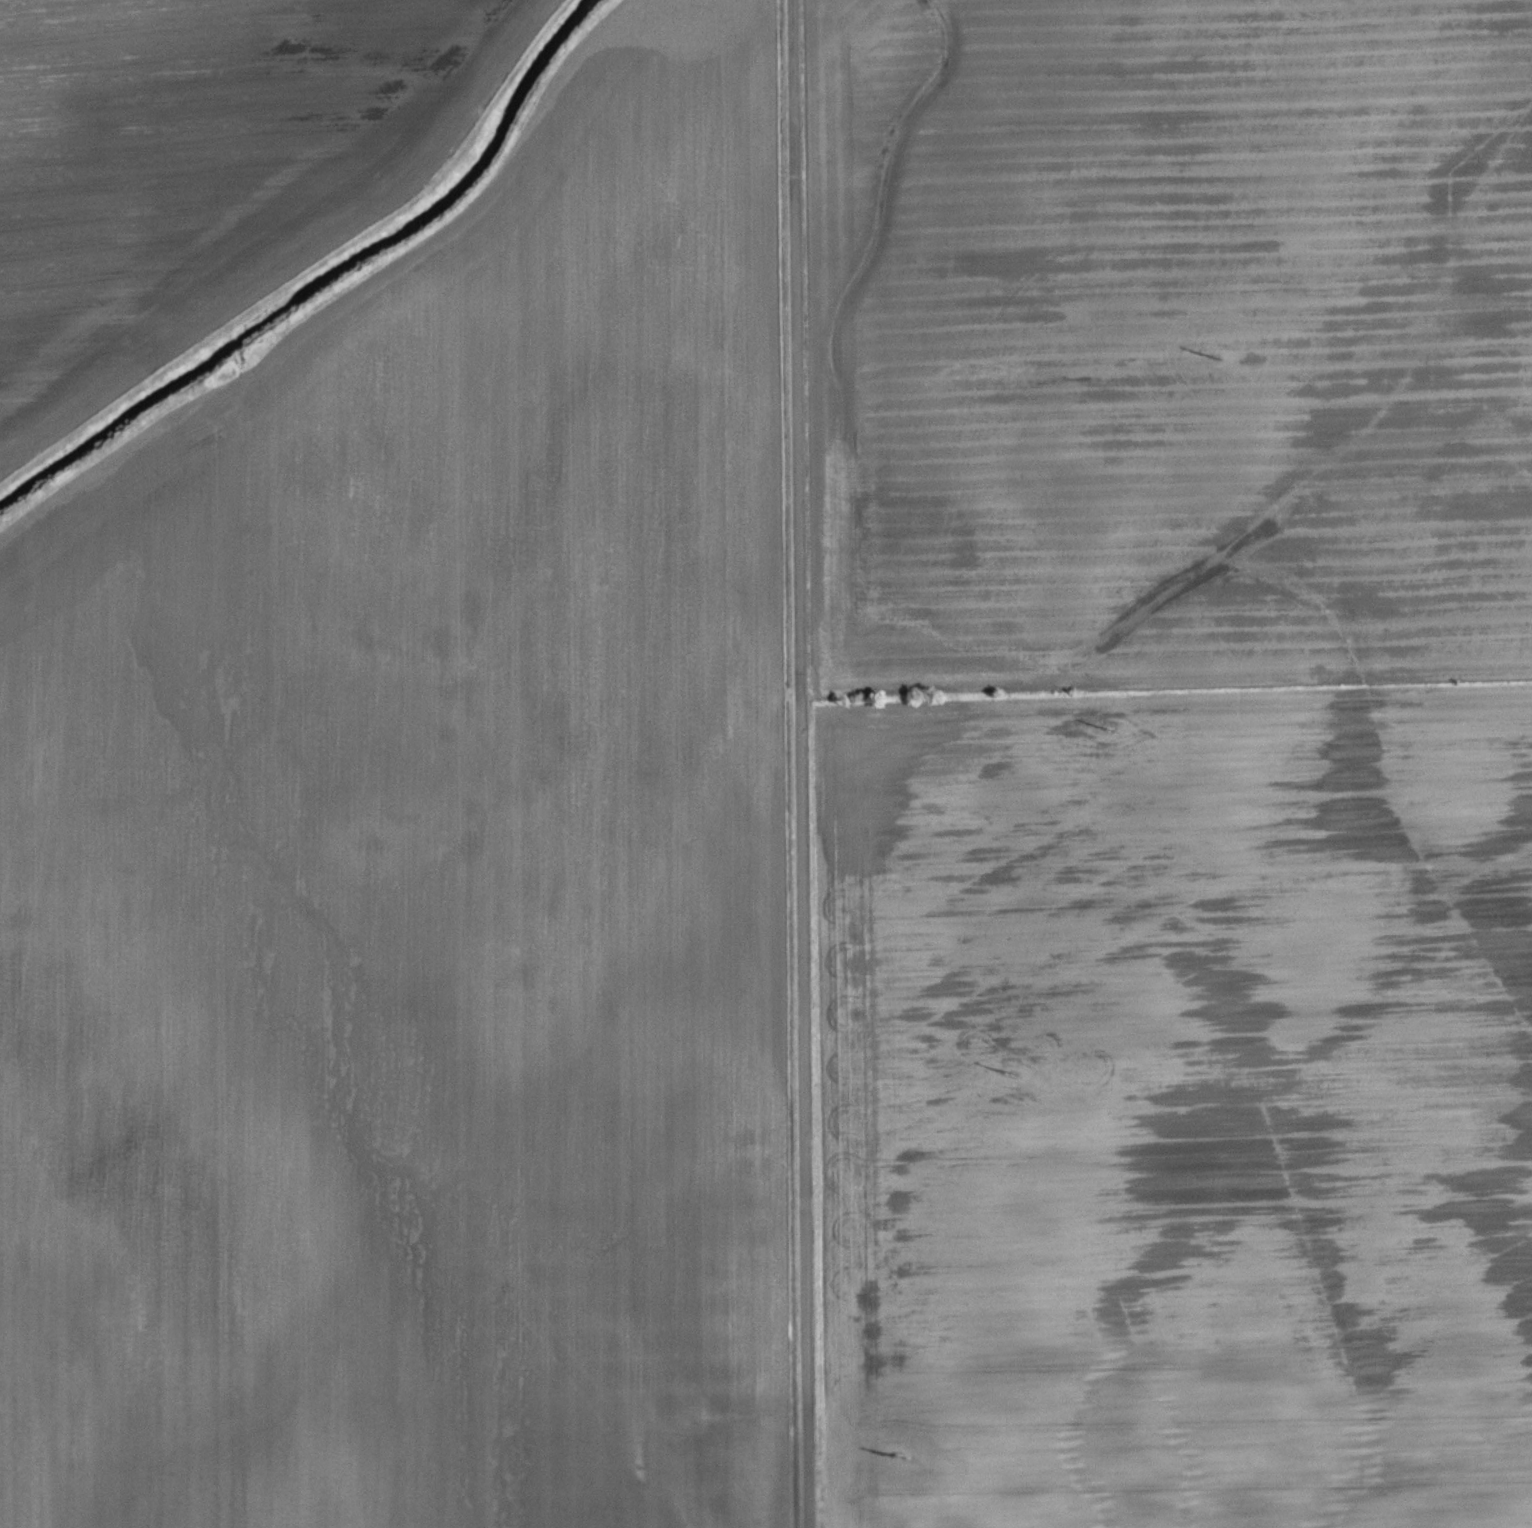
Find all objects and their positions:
road: (796, 763)

